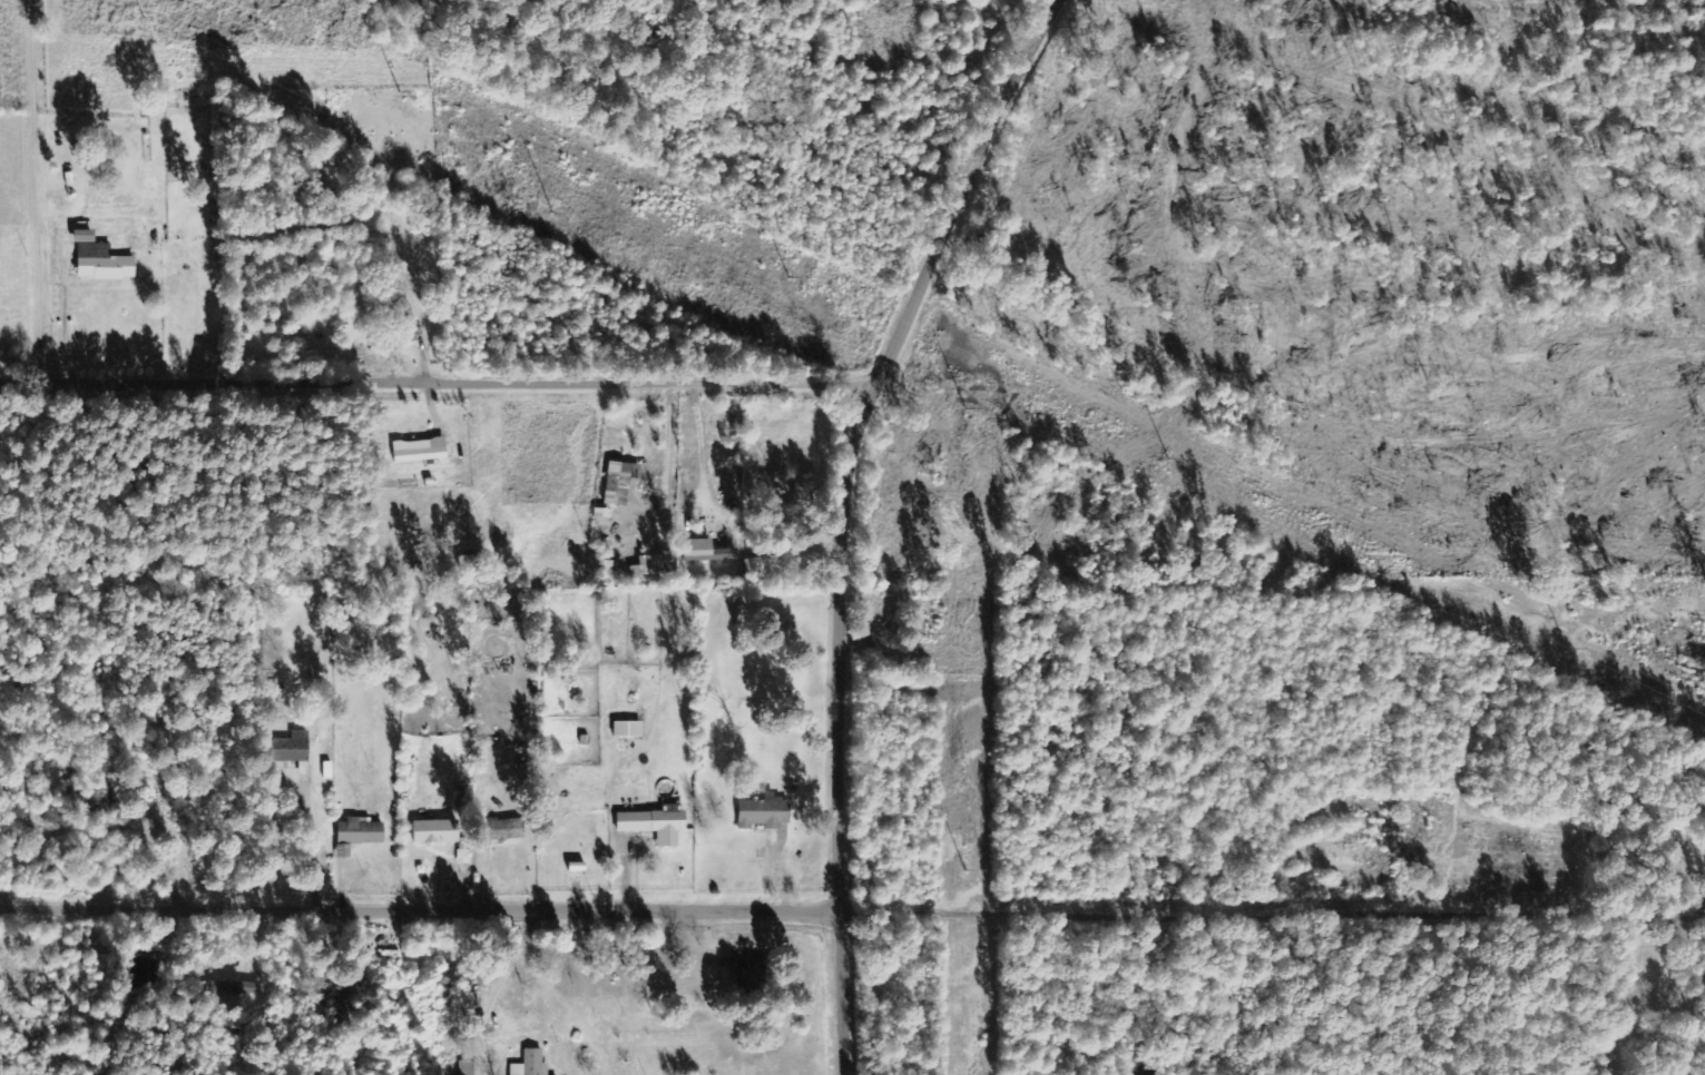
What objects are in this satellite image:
building: (85, 237)
building: (104, 264)
road: (457, 384)
building: (420, 451)
road: (854, 513)
building: (706, 551)
building: (650, 566)
building: (768, 566)
building: (628, 729)
building: (292, 748)
building: (765, 812)
building: (655, 825)
building: (503, 830)
building: (360, 832)
building: (437, 832)
building: (343, 850)
road: (989, 857)
building: (1687, 869)
road: (991, 908)
road: (424, 910)
road: (921, 911)
road: (994, 959)
building: (531, 1064)

